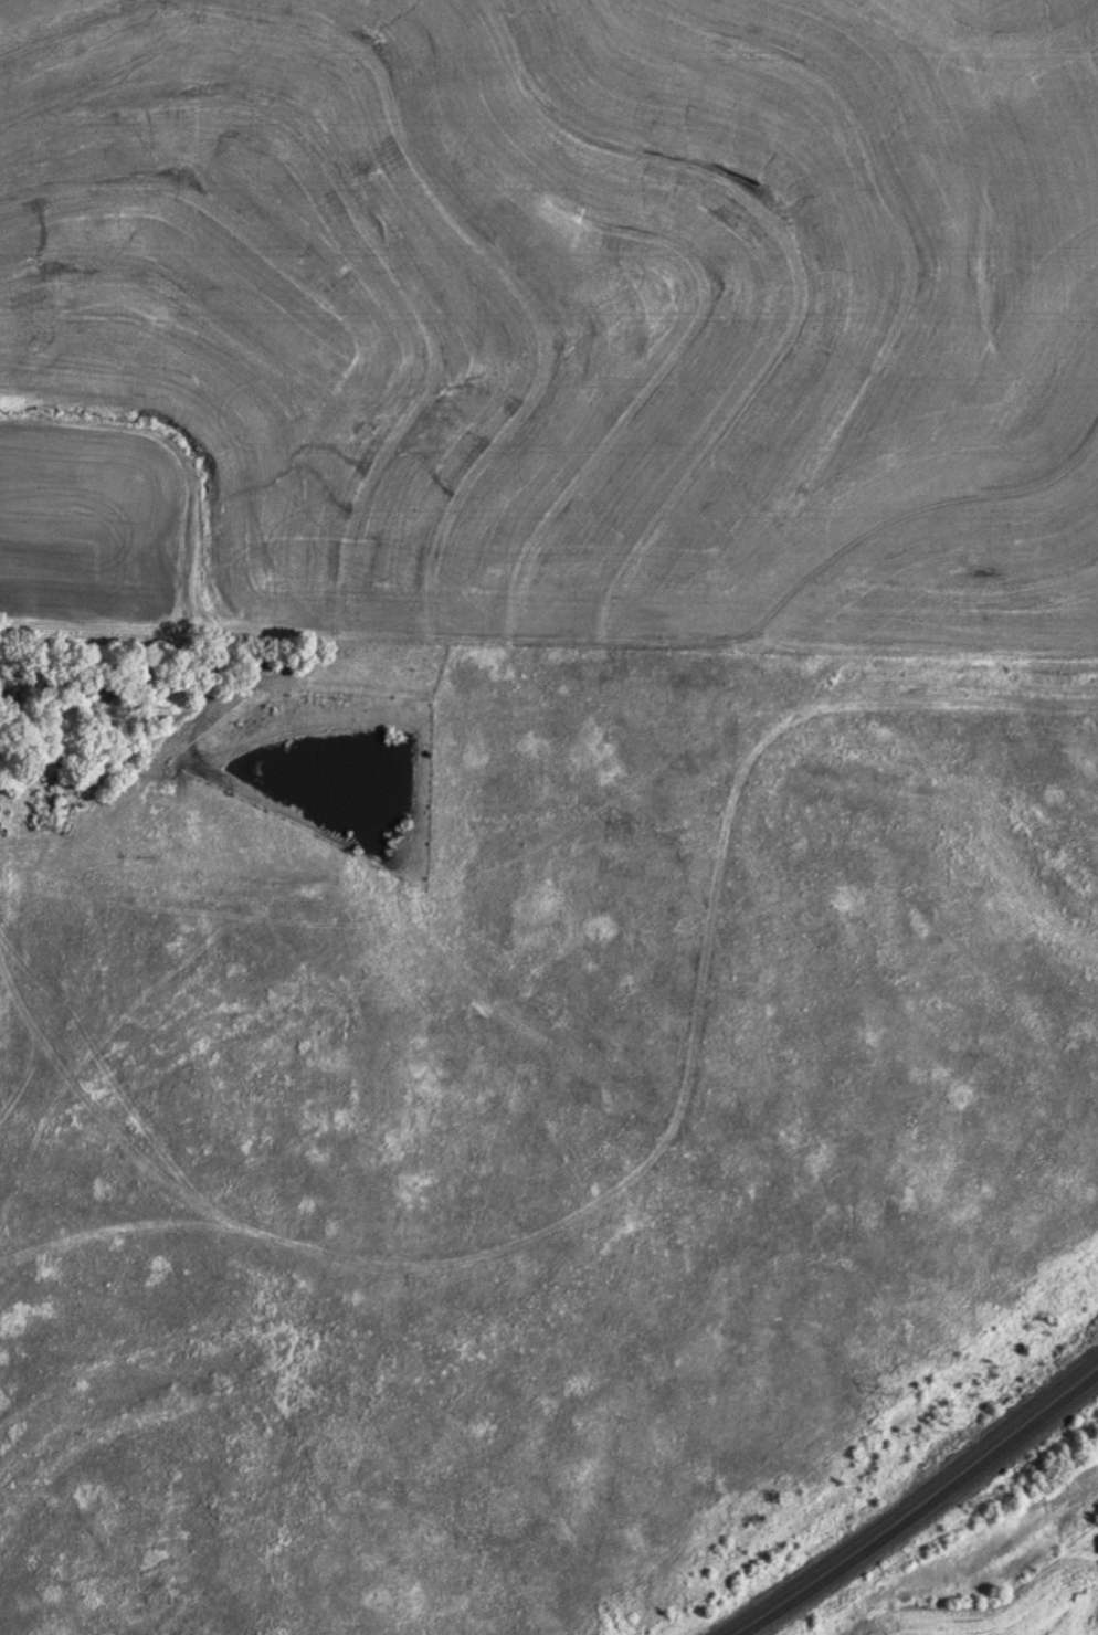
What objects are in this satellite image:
road: (673, 1126)
railway: (1032, 1406)
railway: (1035, 1420)
railway: (844, 1549)
railway: (858, 1554)

